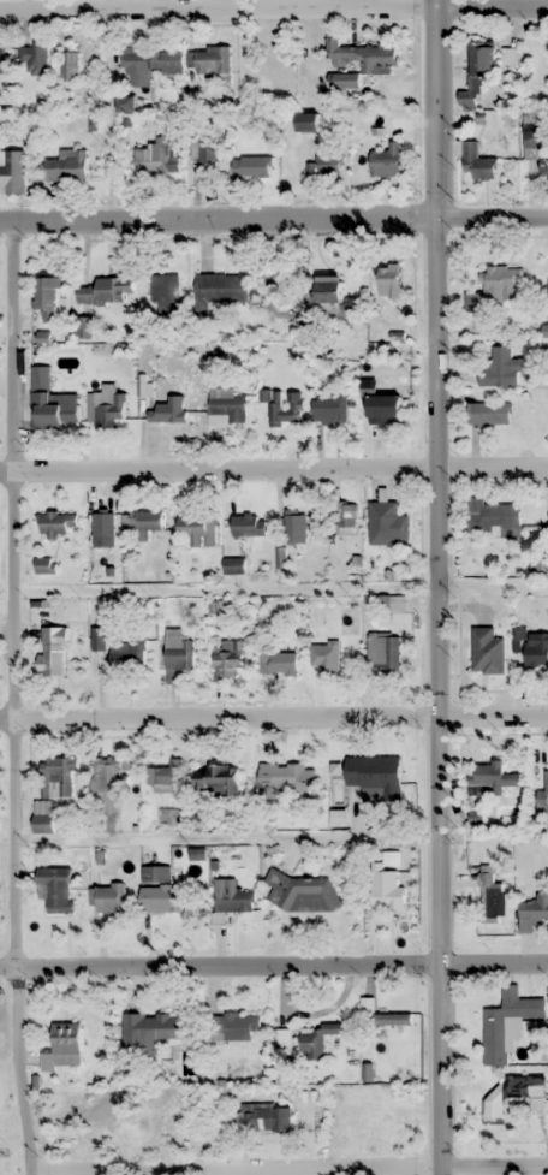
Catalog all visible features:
road: (274, 11)
building: (32, 55)
building: (2, 60)
building: (210, 61)
building: (167, 63)
building: (248, 63)
building: (68, 66)
building: (135, 66)
building: (379, 67)
building: (478, 73)
building: (126, 105)
building: (308, 123)
building: (530, 138)
building: (208, 154)
building: (159, 156)
building: (387, 161)
building: (477, 164)
building: (324, 165)
building: (68, 166)
building: (252, 166)
building: (543, 166)
building: (12, 172)
road: (273, 221)
building: (389, 280)
building: (501, 283)
building: (222, 289)
building: (330, 289)
building: (107, 291)
building: (165, 293)
building: (47, 298)
building: (501, 369)
building: (52, 400)
building: (226, 404)
building: (106, 408)
building: (385, 408)
building: (287, 409)
building: (330, 410)
building: (167, 411)
building: (490, 414)
road: (273, 467)
building: (347, 518)
building: (493, 518)
building: (145, 522)
building: (388, 523)
building: (56, 524)
building: (249, 526)
building: (296, 527)
building: (193, 528)
building: (44, 565)
building: (233, 565)
road: (440, 587)
building: (99, 639)
building: (383, 649)
building: (537, 649)
building: (52, 652)
building: (178, 652)
building: (487, 652)
building: (131, 657)
building: (227, 658)
building: (332, 658)
building: (282, 663)
road: (11, 700)
road: (274, 714)
building: (373, 772)
building: (166, 776)
building: (58, 777)
building: (216, 779)
building: (287, 779)
building: (493, 781)
building: (108, 785)
building: (546, 785)
building: (43, 817)
building: (56, 890)
building: (160, 890)
building: (387, 890)
building: (302, 892)
building: (232, 896)
building: (489, 896)
building: (107, 897)
building: (536, 908)
road: (273, 966)
building: (505, 1022)
building: (238, 1026)
building: (153, 1028)
building: (285, 1039)
building: (314, 1040)
building: (64, 1048)
building: (512, 1092)
building: (266, 1117)
road: (496, 1169)
road: (308, 1173)

